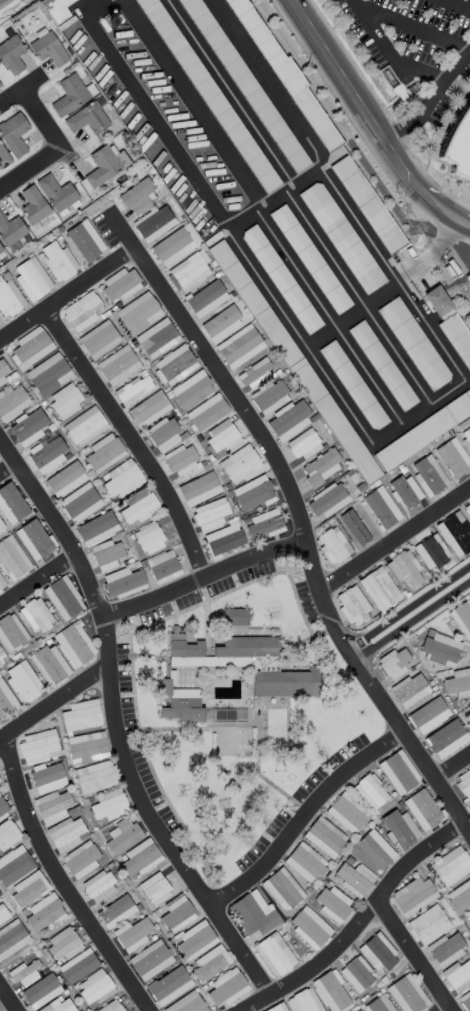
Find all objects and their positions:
road: (455, 6)
building: (56, 10)
road: (413, 29)
building: (47, 47)
parking lot: (414, 50)
building: (12, 53)
road: (387, 54)
building: (283, 72)
building: (244, 83)
road: (19, 87)
building: (69, 94)
building: (211, 96)
road: (429, 101)
road: (37, 119)
building: (87, 119)
road: (370, 122)
building: (14, 134)
building: (459, 149)
building: (4, 157)
building: (104, 165)
road: (29, 168)
building: (56, 192)
building: (136, 196)
road: (276, 199)
road: (294, 203)
building: (367, 204)
building: (33, 206)
road: (261, 212)
building: (154, 222)
building: (12, 231)
building: (341, 237)
building: (85, 242)
building: (175, 244)
building: (1, 251)
building: (309, 258)
building: (58, 261)
building: (192, 270)
building: (31, 278)
building: (280, 278)
road: (81, 282)
building: (120, 284)
building: (9, 297)
building: (207, 297)
building: (437, 300)
building: (81, 311)
building: (138, 313)
road: (353, 315)
building: (222, 322)
building: (157, 338)
building: (457, 338)
building: (99, 339)
building: (413, 343)
building: (30, 346)
building: (240, 346)
building: (288, 353)
building: (174, 364)
building: (117, 365)
building: (381, 365)
building: (4, 372)
building: (255, 373)
building: (48, 374)
building: (352, 385)
building: (133, 388)
building: (191, 390)
road: (229, 390)
building: (267, 394)
building: (12, 400)
building: (66, 400)
building: (148, 409)
building: (207, 412)
building: (439, 420)
building: (292, 421)
building: (29, 426)
building: (84, 426)
road: (384, 432)
building: (164, 433)
building: (221, 437)
building: (466, 437)
road: (131, 441)
building: (304, 444)
building: (103, 452)
building: (48, 454)
building: (452, 457)
building: (181, 459)
building: (239, 463)
road: (6, 467)
building: (321, 467)
building: (428, 474)
building: (65, 478)
building: (121, 479)
building: (199, 488)
building: (405, 490)
building: (253, 493)
building: (328, 500)
building: (11, 501)
building: (80, 502)
building: (139, 506)
building: (381, 507)
building: (468, 507)
building: (210, 514)
building: (263, 524)
building: (1, 525)
building: (357, 525)
road: (57, 527)
building: (97, 528)
building: (454, 534)
building: (149, 538)
building: (35, 539)
road: (391, 539)
building: (224, 540)
building: (426, 544)
building: (333, 545)
building: (107, 555)
building: (12, 558)
building: (398, 562)
building: (163, 566)
road: (36, 578)
building: (1, 582)
building: (123, 582)
building: (376, 585)
building: (63, 597)
building: (353, 606)
building: (36, 615)
building: (234, 616)
road: (411, 616)
building: (462, 616)
building: (11, 633)
building: (75, 644)
building: (439, 648)
building: (184, 649)
building: (251, 650)
building: (2, 658)
building: (395, 663)
building: (49, 664)
building: (23, 681)
building: (284, 683)
building: (458, 683)
building: (165, 687)
building: (410, 689)
building: (6, 700)
road: (55, 706)
building: (469, 708)
building: (182, 709)
building: (426, 713)
building: (81, 715)
building: (468, 722)
building: (445, 741)
building: (38, 746)
building: (87, 747)
road: (448, 762)
building: (399, 772)
road: (134, 773)
building: (45, 775)
building: (95, 777)
building: (463, 778)
road: (433, 784)
building: (370, 791)
building: (53, 804)
building: (469, 805)
building: (3, 806)
building: (108, 806)
building: (423, 810)
building: (347, 813)
building: (397, 828)
building: (67, 832)
building: (8, 834)
building: (325, 836)
building: (123, 837)
building: (373, 852)
building: (11, 858)
building: (443, 858)
building: (82, 859)
building: (139, 859)
building: (305, 863)
building: (352, 877)
road: (62, 881)
building: (98, 884)
building: (21, 885)
building: (457, 887)
building: (155, 888)
building: (282, 889)
building: (411, 893)
building: (332, 904)
building: (116, 911)
building: (1, 912)
building: (177, 915)
building: (44, 916)
building: (250, 917)
building: (464, 917)
building: (423, 918)
road: (363, 924)
building: (309, 928)
building: (133, 932)
building: (10, 938)
building: (194, 939)
building: (63, 943)
building: (446, 948)
building: (269, 951)
road: (241, 954)
building: (380, 954)
building: (148, 958)
road: (412, 958)
building: (210, 964)
building: (79, 967)
building: (24, 971)
building: (358, 975)
building: (458, 975)
building: (167, 984)
building: (94, 988)
building: (40, 989)
building: (226, 989)
building: (333, 992)
building: (408, 995)
road: (7, 999)
building: (301, 1002)
building: (466, 1003)
building: (194, 1005)
building: (376, 1005)
building: (64, 1006)
road: (439, 1007)
building: (118, 1009)
building: (274, 1009)
building: (358, 1010)

